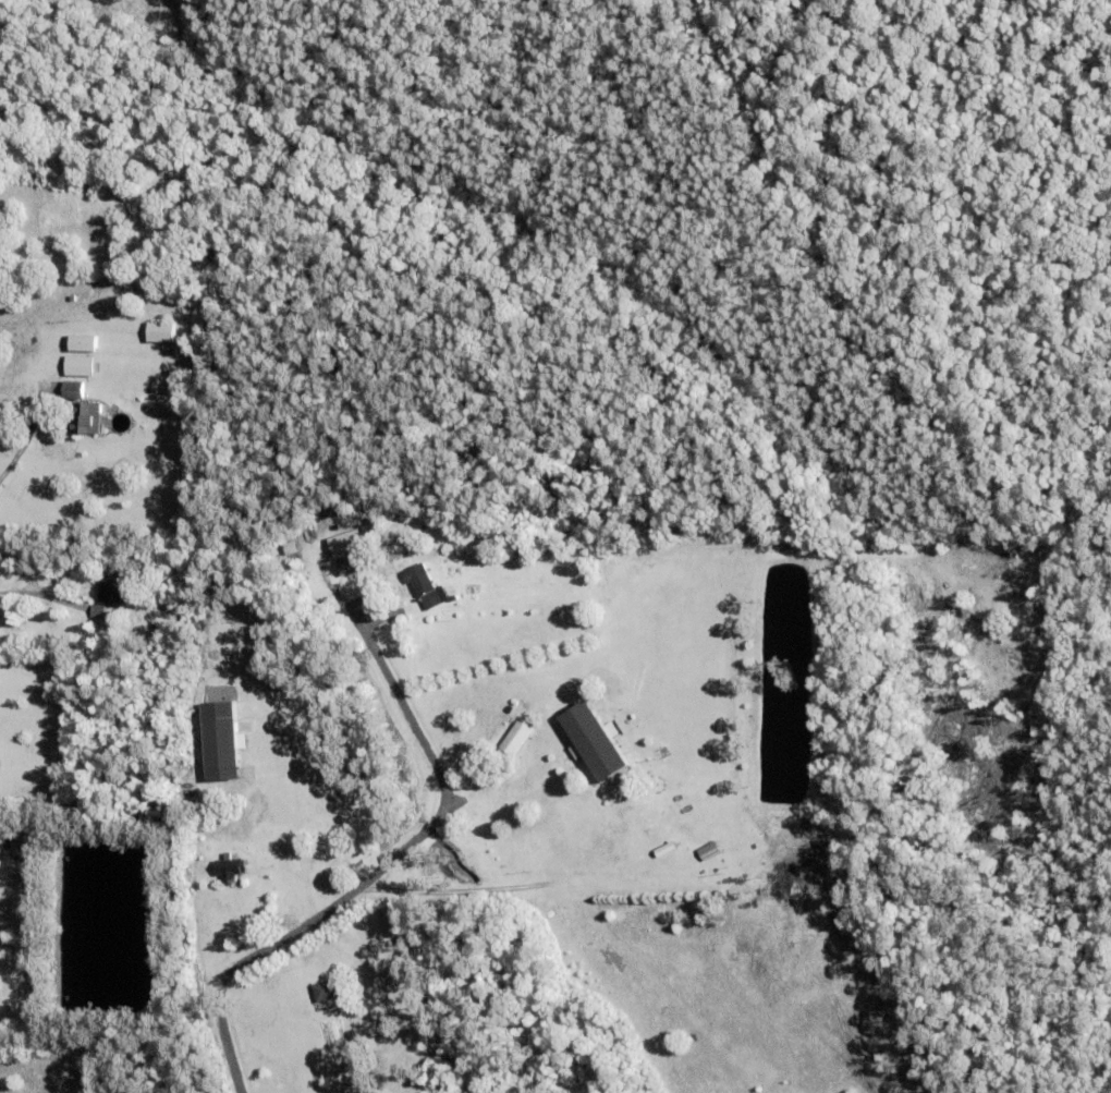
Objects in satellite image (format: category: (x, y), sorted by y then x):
building: (160, 336)
building: (82, 347)
building: (78, 368)
building: (72, 391)
building: (84, 422)
road: (11, 463)
building: (349, 542)
building: (354, 561)
building: (425, 583)
building: (111, 587)
building: (155, 626)
building: (510, 707)
building: (517, 733)
building: (595, 737)
building: (223, 738)
building: (708, 850)
building: (692, 863)
building: (230, 866)
road: (383, 867)
building: (321, 972)
building: (325, 988)
building: (317, 1016)

